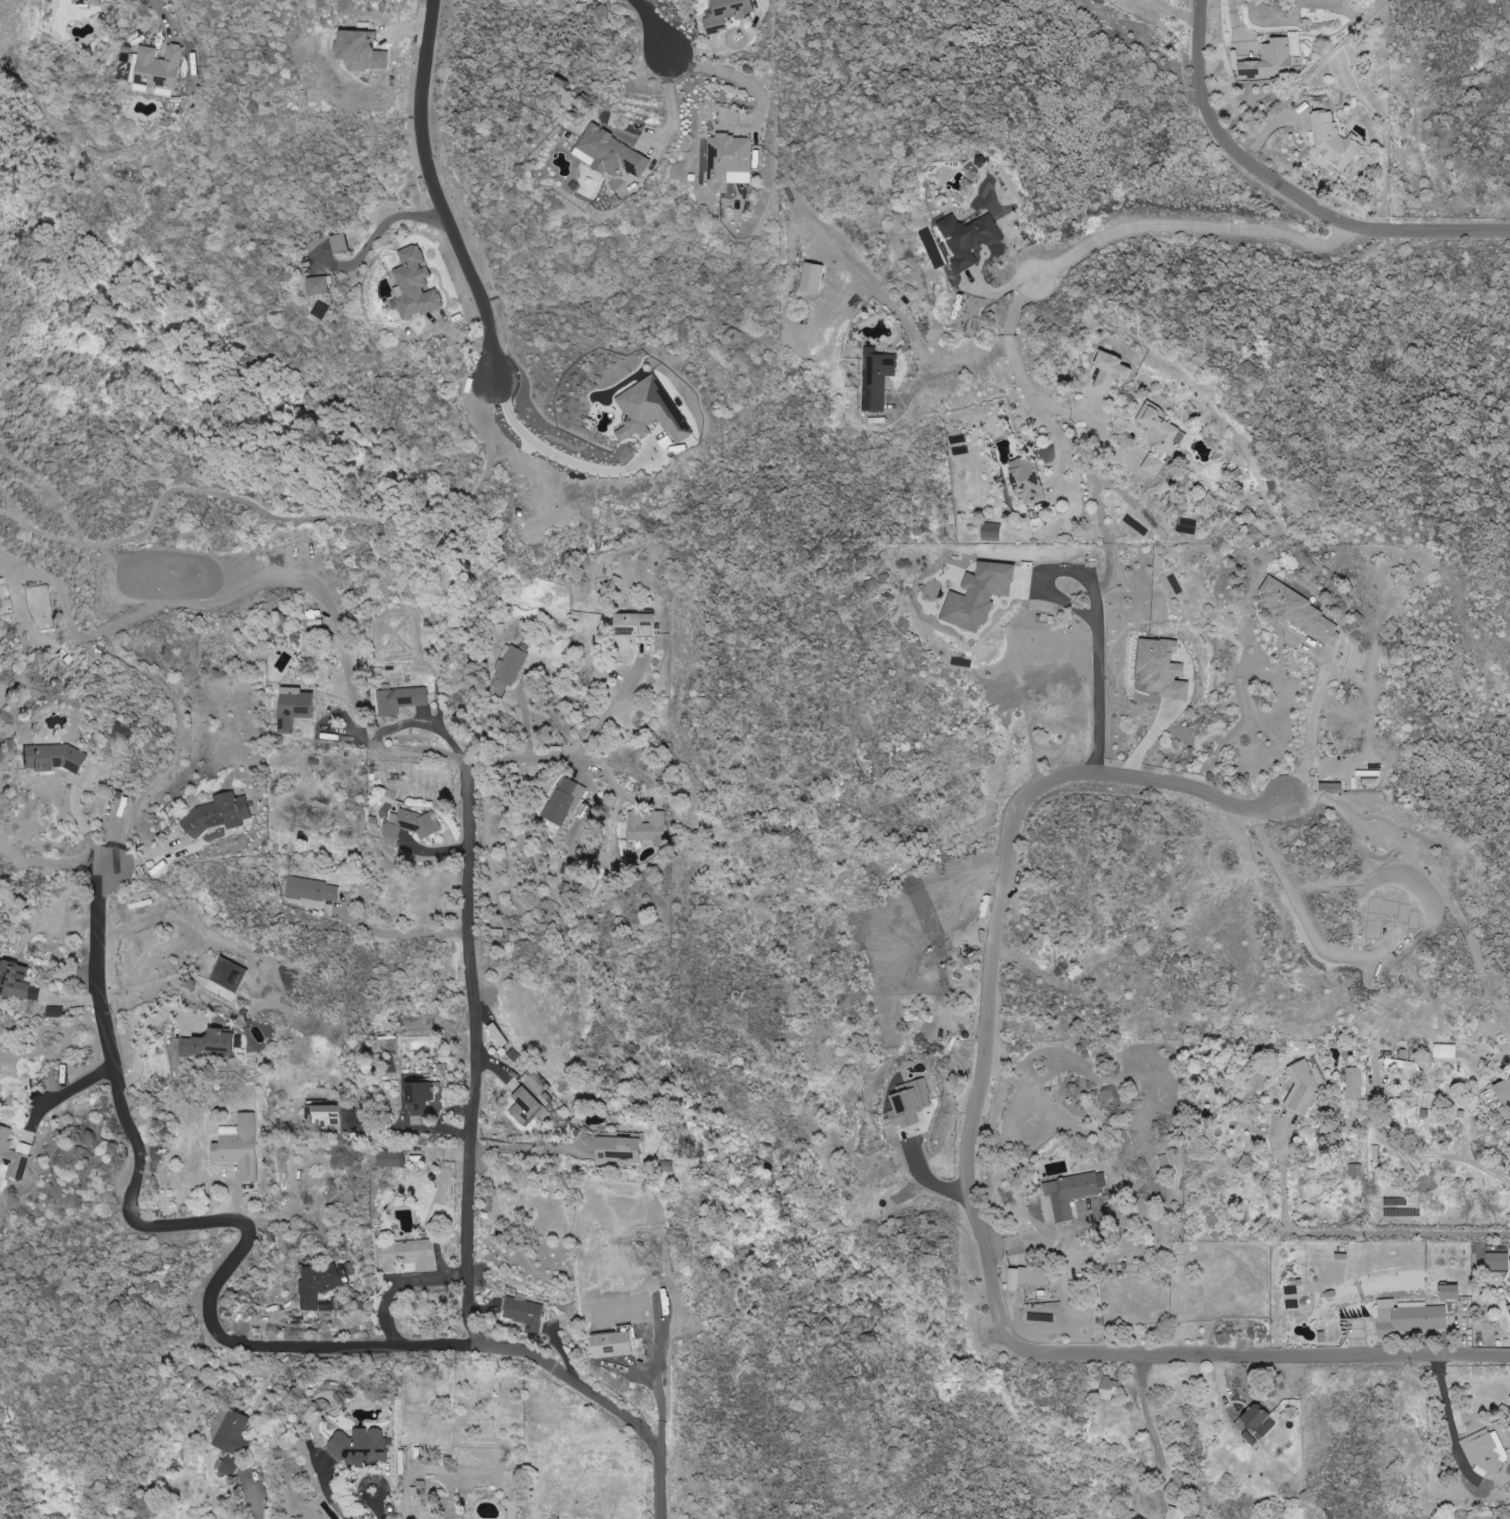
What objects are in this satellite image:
building: (1138, 0)
building: (90, 2)
building: (728, 14)
road: (654, 24)
building: (362, 51)
building: (1275, 58)
building: (156, 68)
road: (727, 72)
road: (672, 101)
building: (1334, 140)
building: (611, 153)
building: (729, 161)
road: (1291, 190)
road: (434, 194)
road: (1194, 229)
building: (969, 238)
building: (339, 243)
building: (813, 277)
building: (319, 285)
building: (416, 285)
road: (953, 368)
road: (1020, 371)
building: (1113, 371)
building: (878, 378)
building: (652, 411)
building: (1160, 437)
road: (547, 449)
building: (1029, 481)
building: (993, 531)
building: (980, 595)
building: (1302, 611)
building: (637, 625)
building: (1163, 669)
building: (508, 671)
road: (1100, 674)
building: (401, 700)
building: (295, 708)
road: (1311, 735)
road: (396, 749)
road: (550, 757)
building: (55, 759)
building: (565, 800)
building: (219, 814)
road: (81, 821)
building: (410, 826)
building: (649, 829)
building: (313, 892)
road: (1298, 909)
road: (405, 935)
building: (17, 980)
building: (56, 1012)
road: (145, 1039)
building: (213, 1042)
building: (1447, 1050)
building: (1404, 1066)
building: (1354, 1083)
building: (1306, 1087)
road: (69, 1088)
building: (1497, 1094)
building: (525, 1105)
building: (325, 1115)
road: (446, 1118)
road: (396, 1128)
road: (528, 1145)
building: (239, 1146)
building: (618, 1148)
building: (13, 1153)
building: (393, 1158)
building: (1355, 1170)
road: (967, 1182)
building: (1073, 1192)
building: (1395, 1201)
road: (470, 1218)
road: (203, 1219)
road: (1344, 1233)
road: (1042, 1235)
building: (412, 1255)
building: (1498, 1261)
building: (1029, 1277)
building: (321, 1283)
road: (402, 1284)
building: (1452, 1292)
building: (1509, 1306)
building: (526, 1313)
building: (1410, 1318)
building: (614, 1344)
building: (1111, 1388)
road: (661, 1395)
road: (1143, 1407)
building: (1262, 1420)
building: (233, 1433)
building: (361, 1447)
building: (1485, 1451)
building: (230, 1466)
road: (379, 1502)
road: (261, 1507)
building: (1176, 1513)

